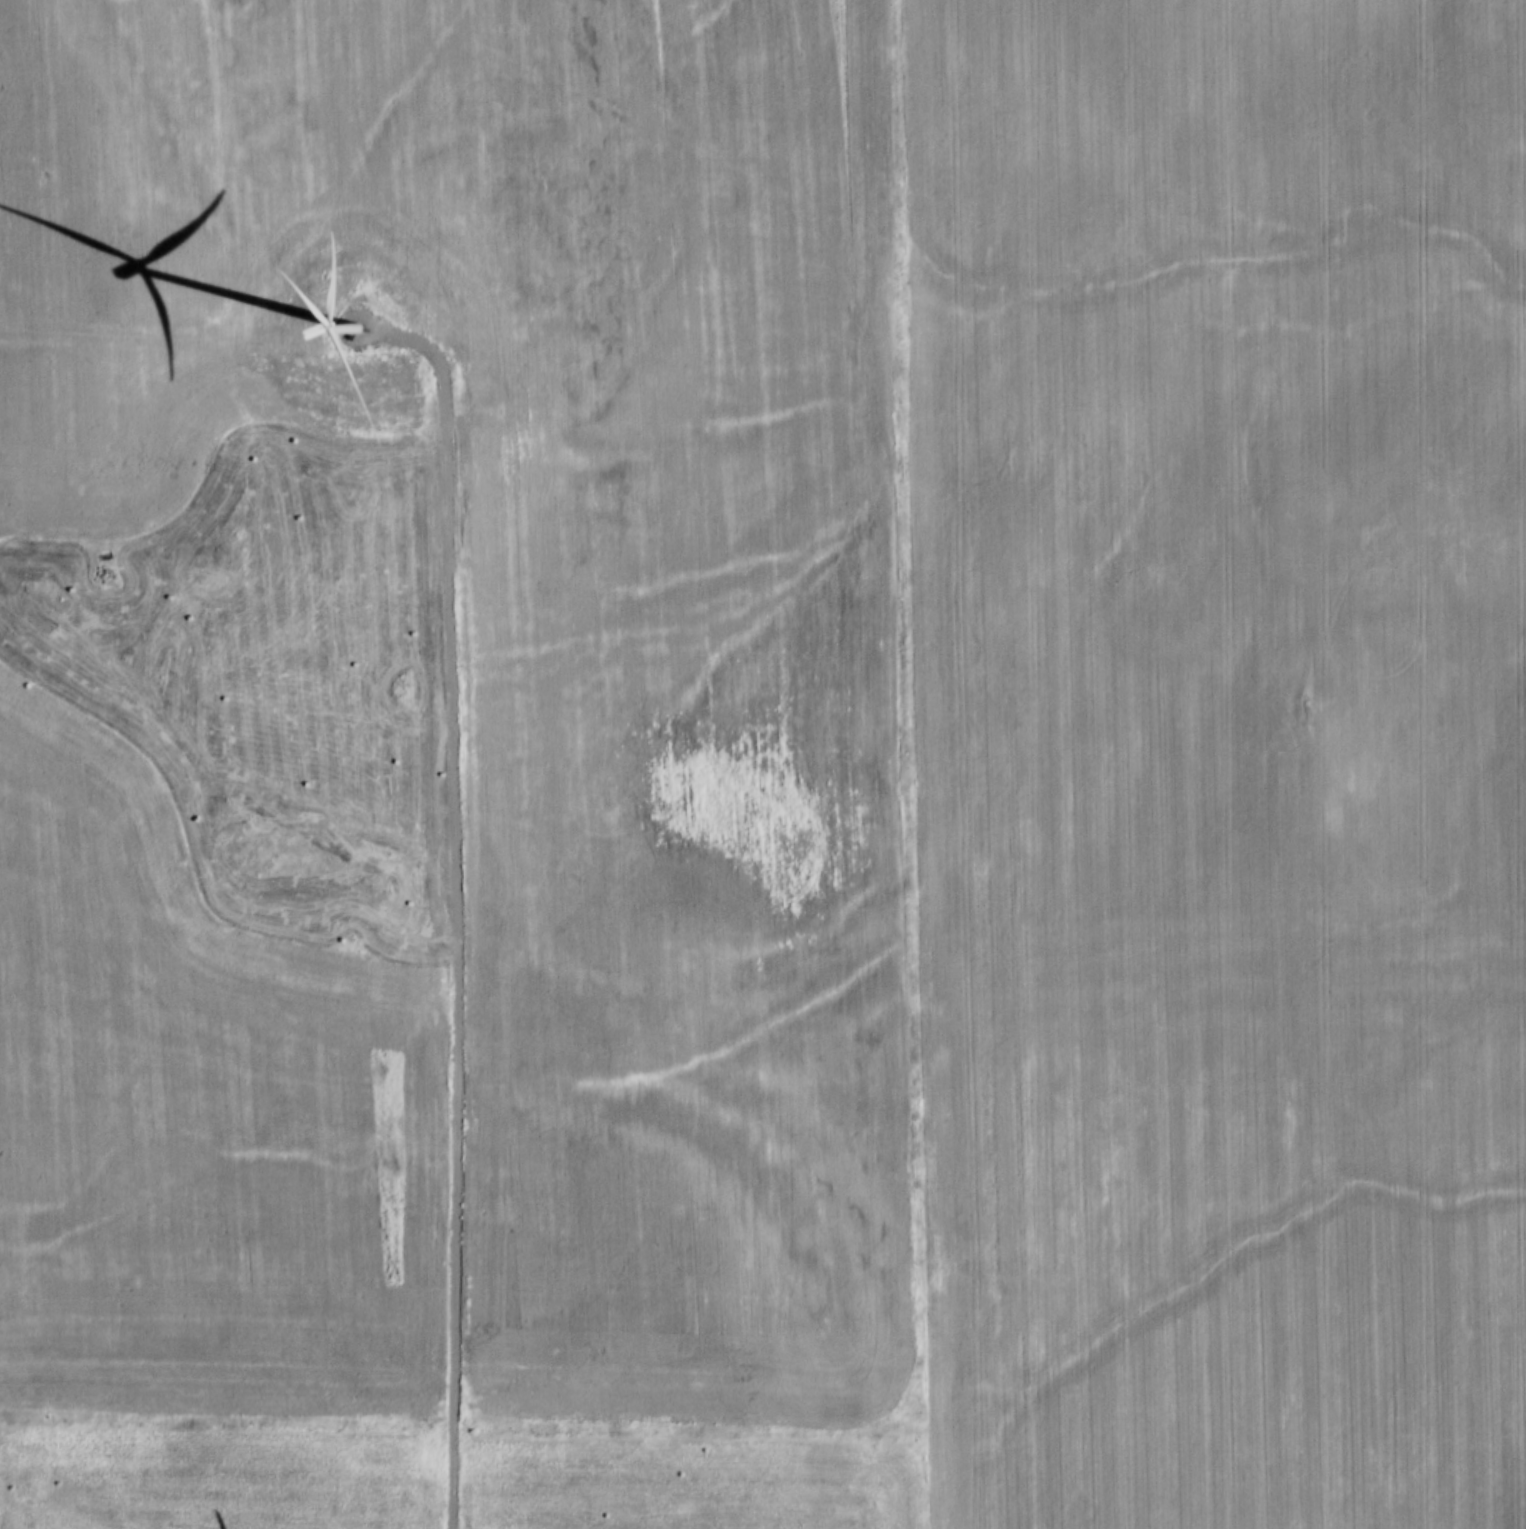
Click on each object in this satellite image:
wind turbine: (361, 338)

